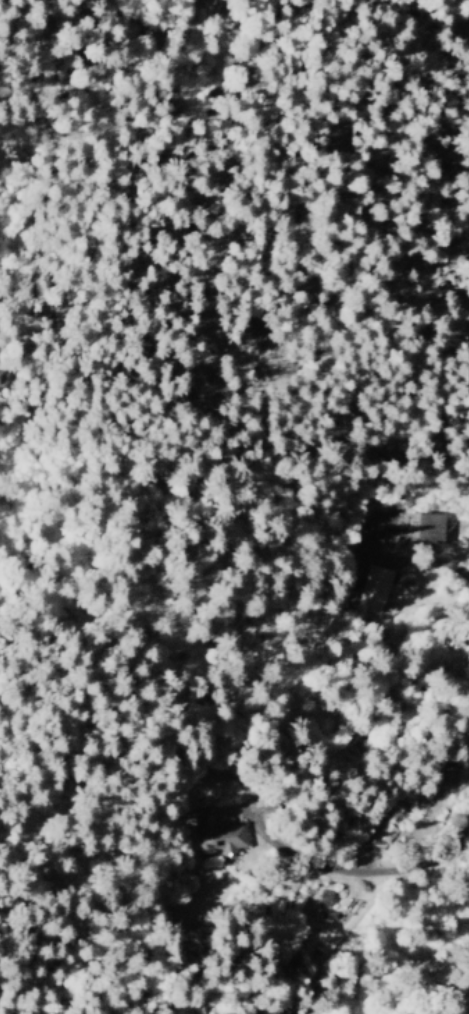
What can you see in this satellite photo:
building: (422, 526)
building: (214, 831)
building: (380, 835)
road: (376, 873)

